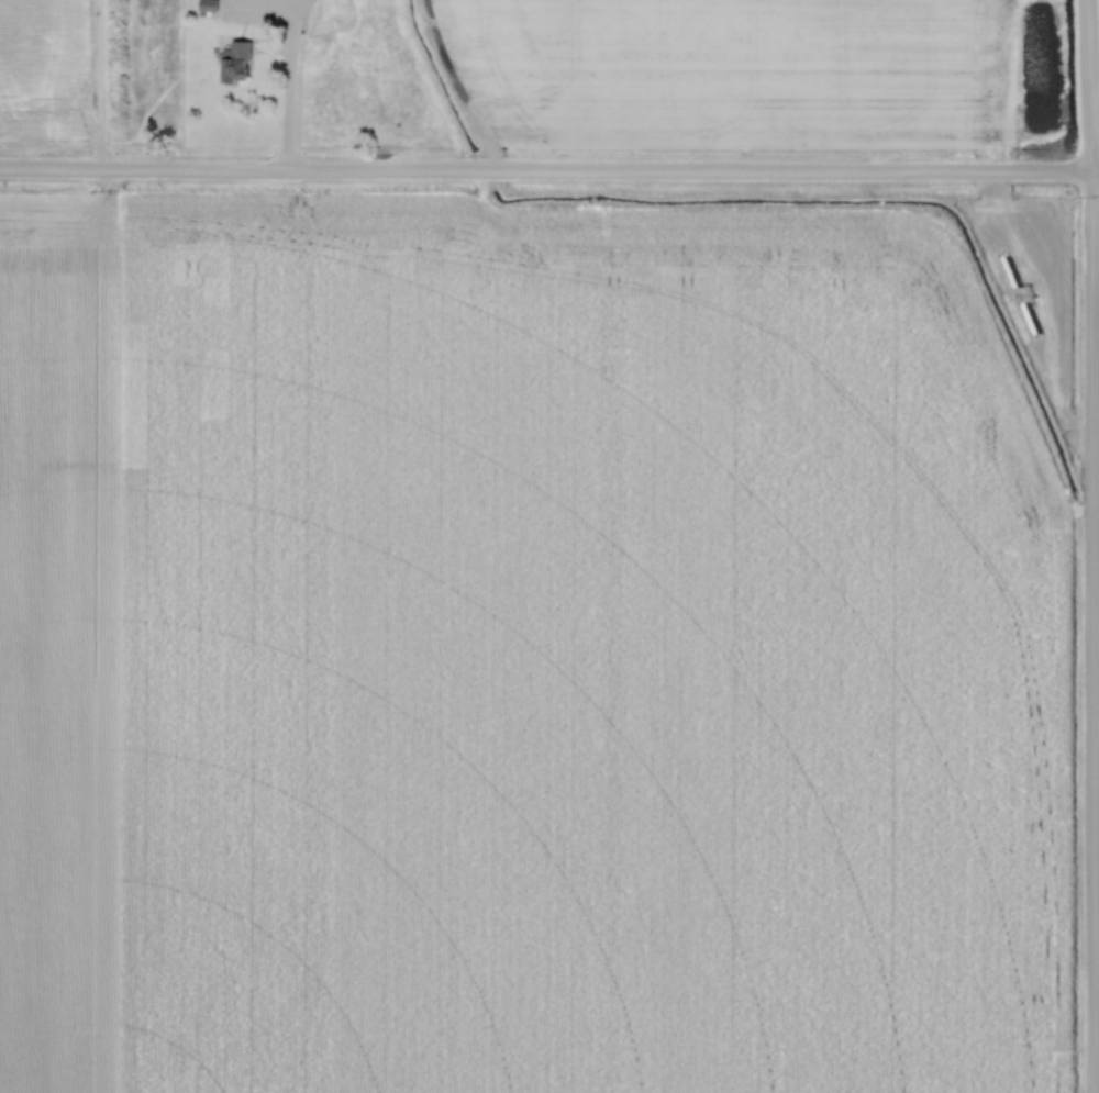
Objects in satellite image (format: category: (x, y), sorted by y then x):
building: (208, 4)
building: (237, 60)
crop: (45, 70)
crop: (731, 71)
road: (290, 82)
road: (549, 172)
road: (1094, 546)
crop: (533, 647)

